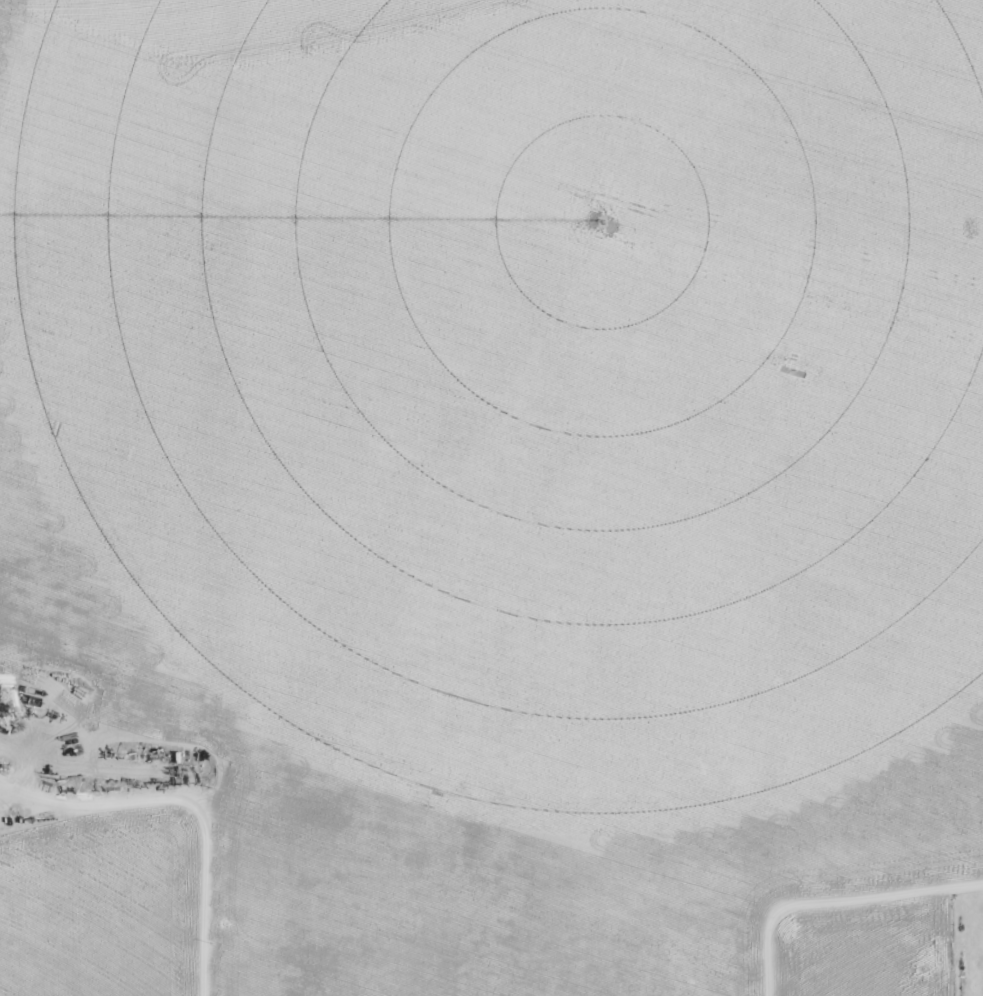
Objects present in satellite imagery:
road: (865, 925)

